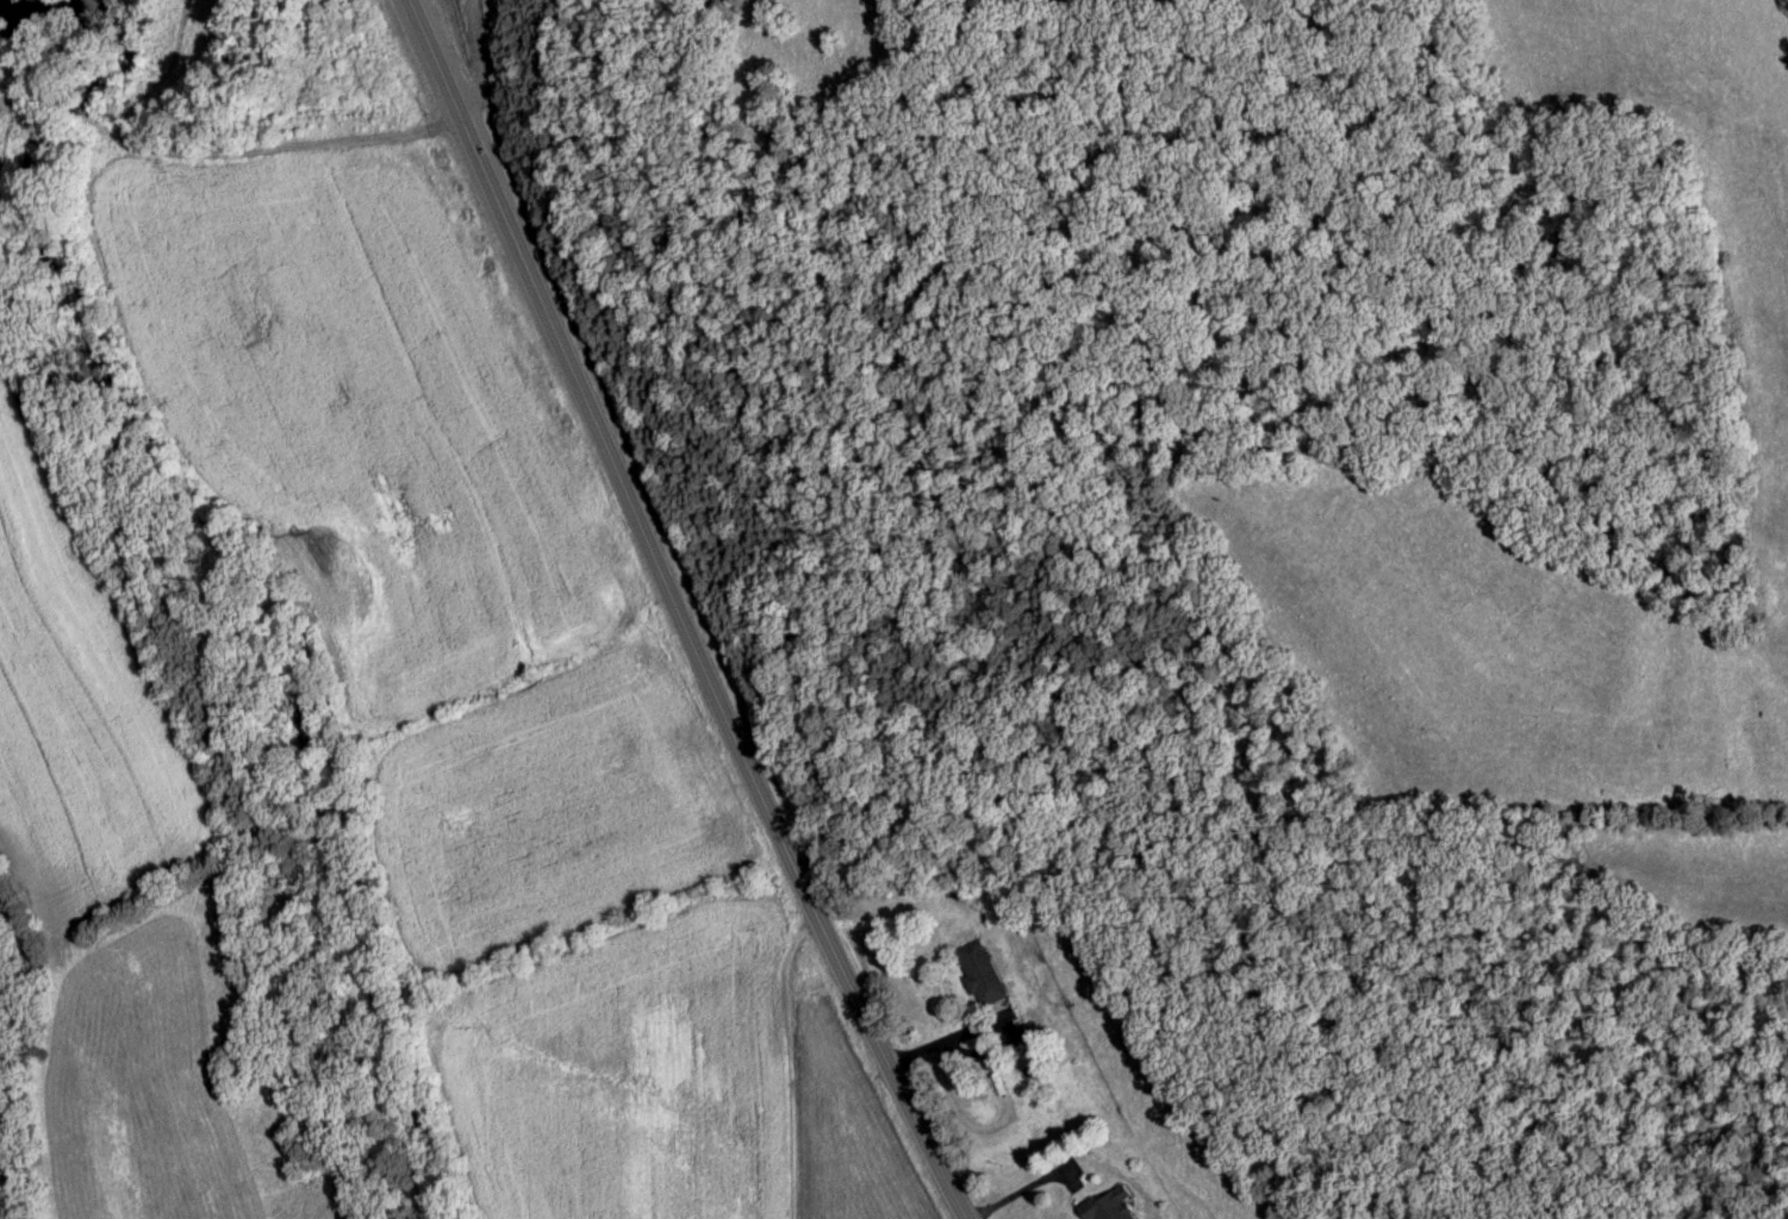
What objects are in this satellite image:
river: (68, 18)
road: (686, 606)
building: (978, 975)
road: (980, 1029)
road: (1023, 1194)
building: (1109, 1207)

